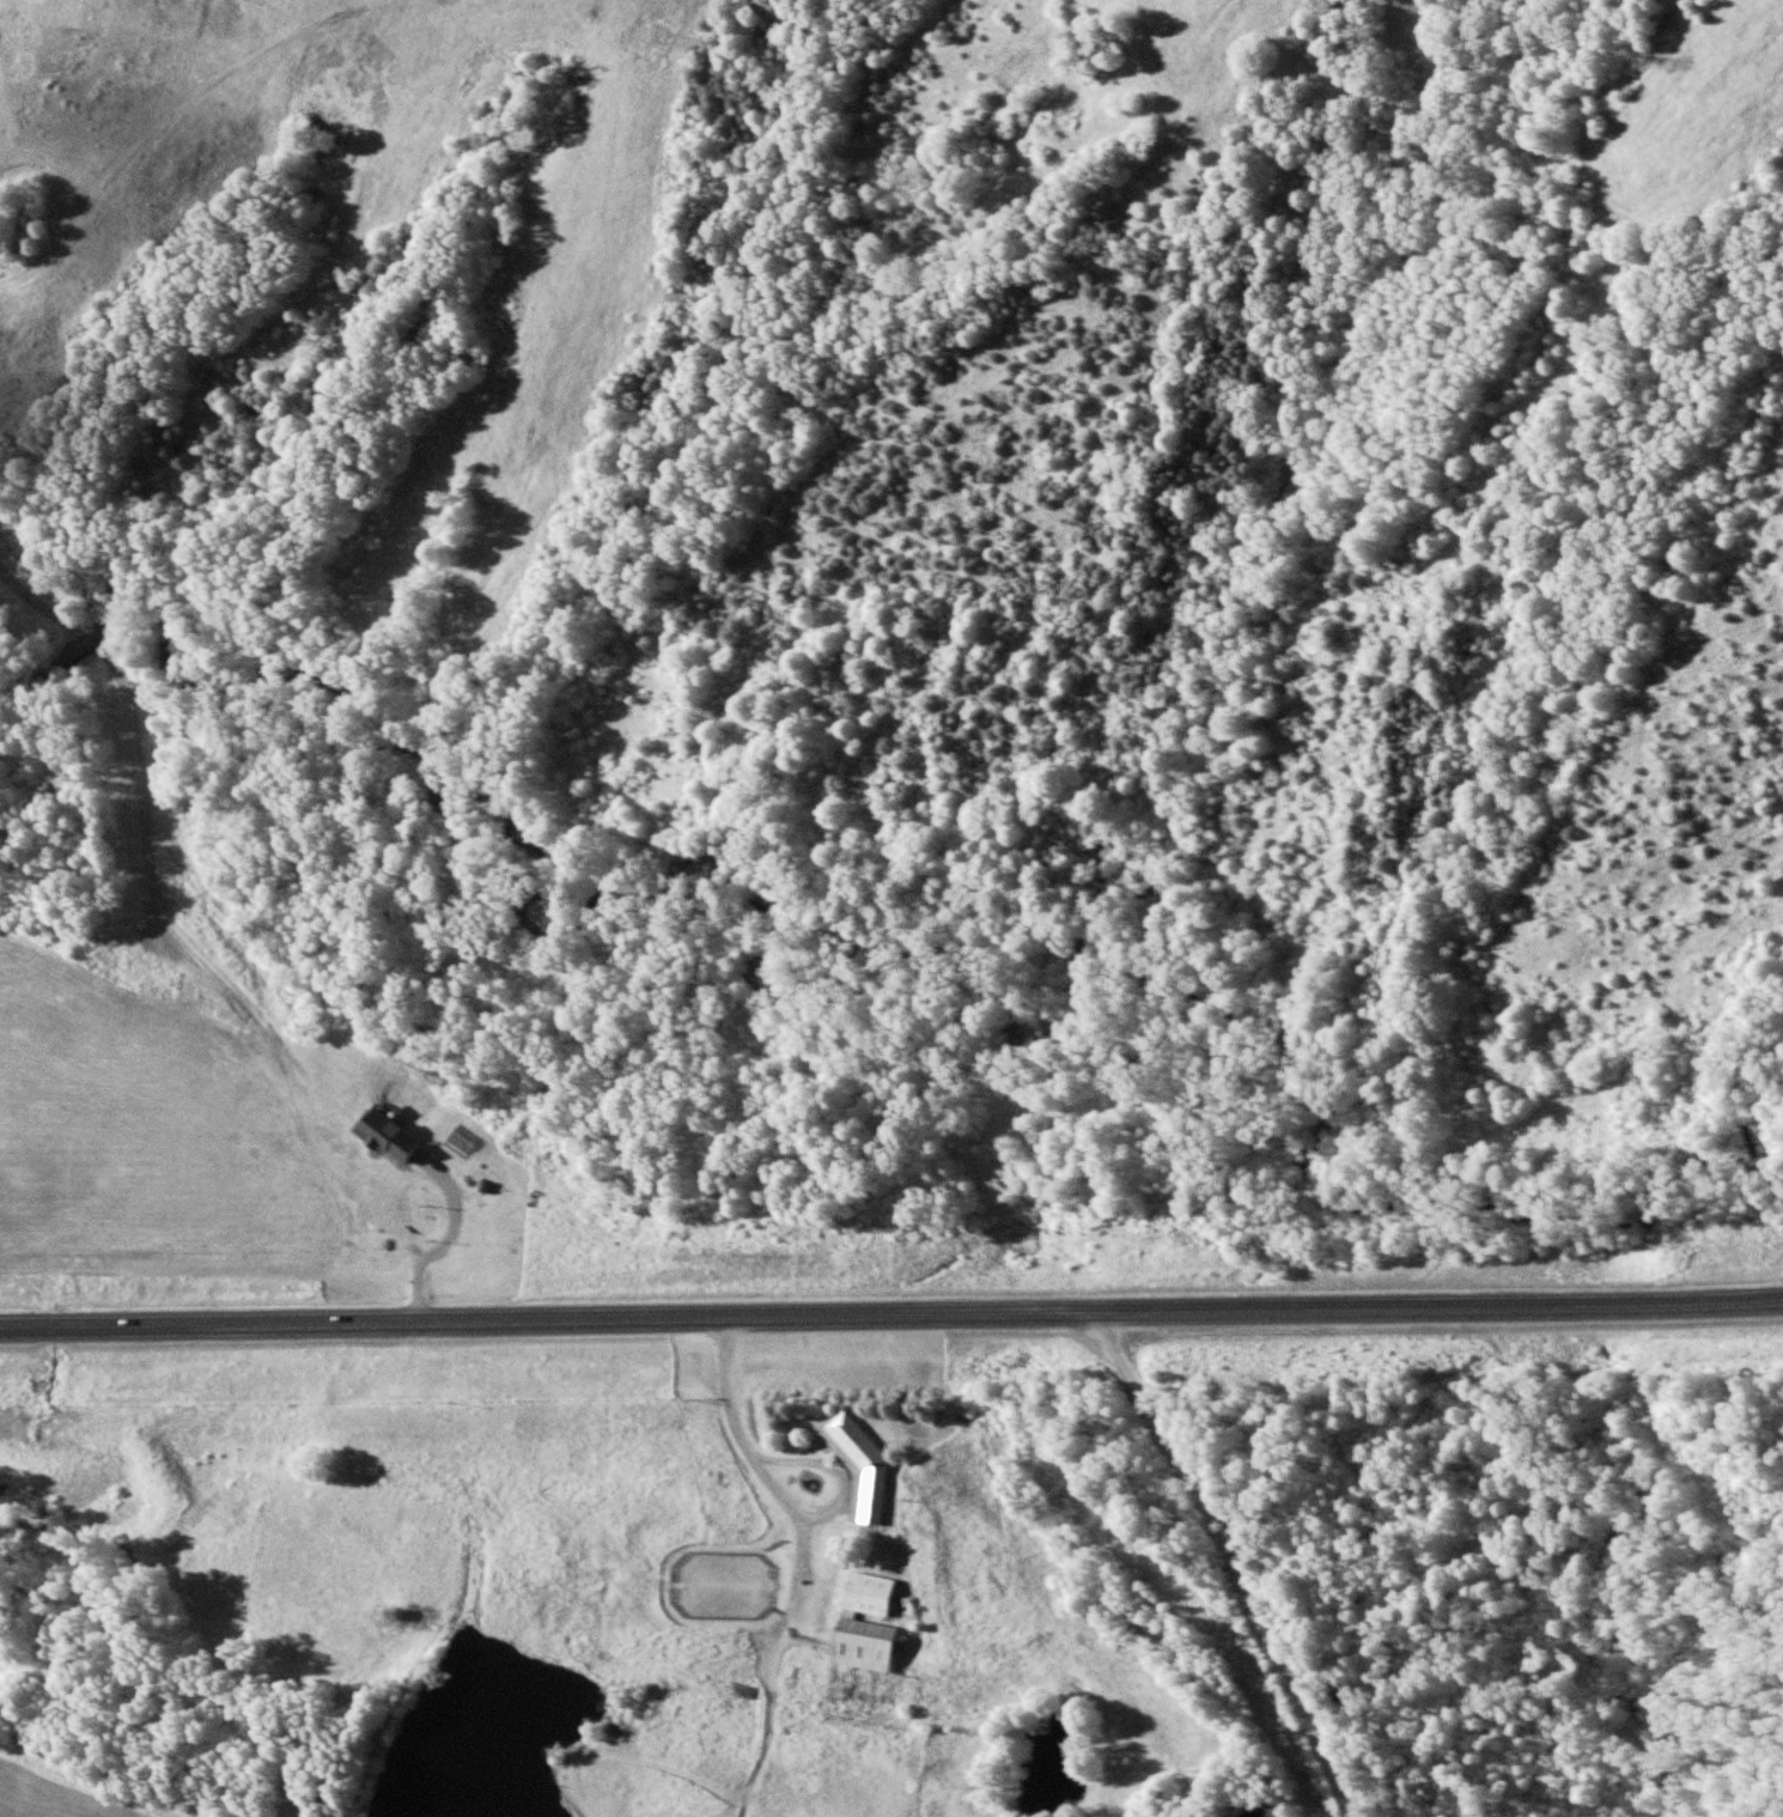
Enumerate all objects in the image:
road: (891, 1312)
road: (729, 1392)
building: (857, 1467)
road: (842, 1482)
road: (1231, 1561)
building: (865, 1624)

